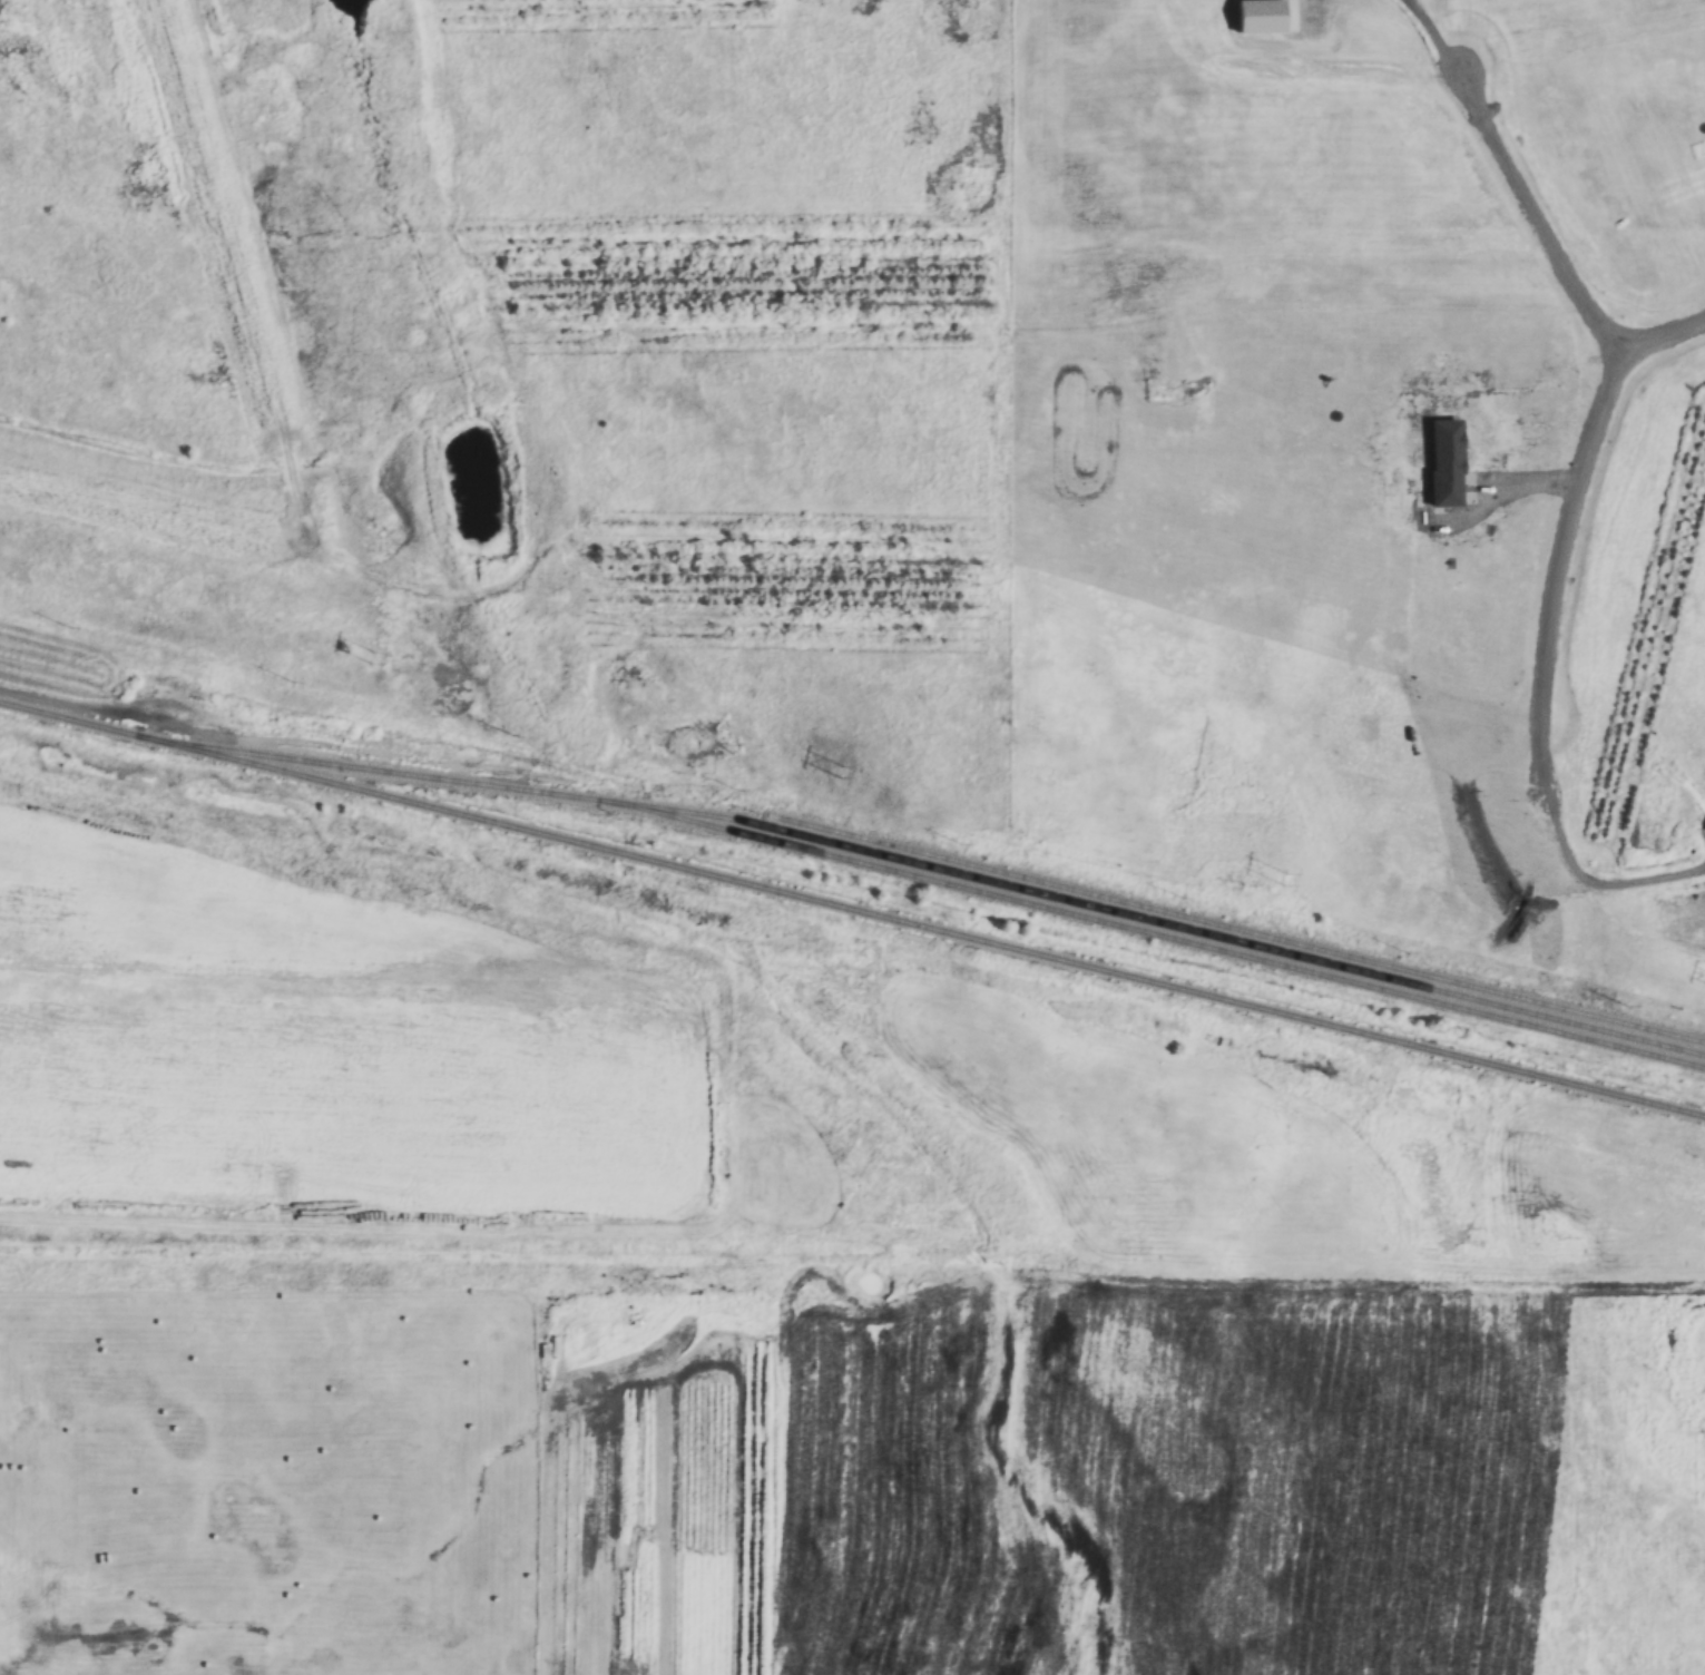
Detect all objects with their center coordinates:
road: (1434, 36)
road: (1535, 217)
road: (1575, 489)
power tower: (372, 657)
power tower: (839, 772)
power tower: (1284, 881)
railway: (852, 909)

